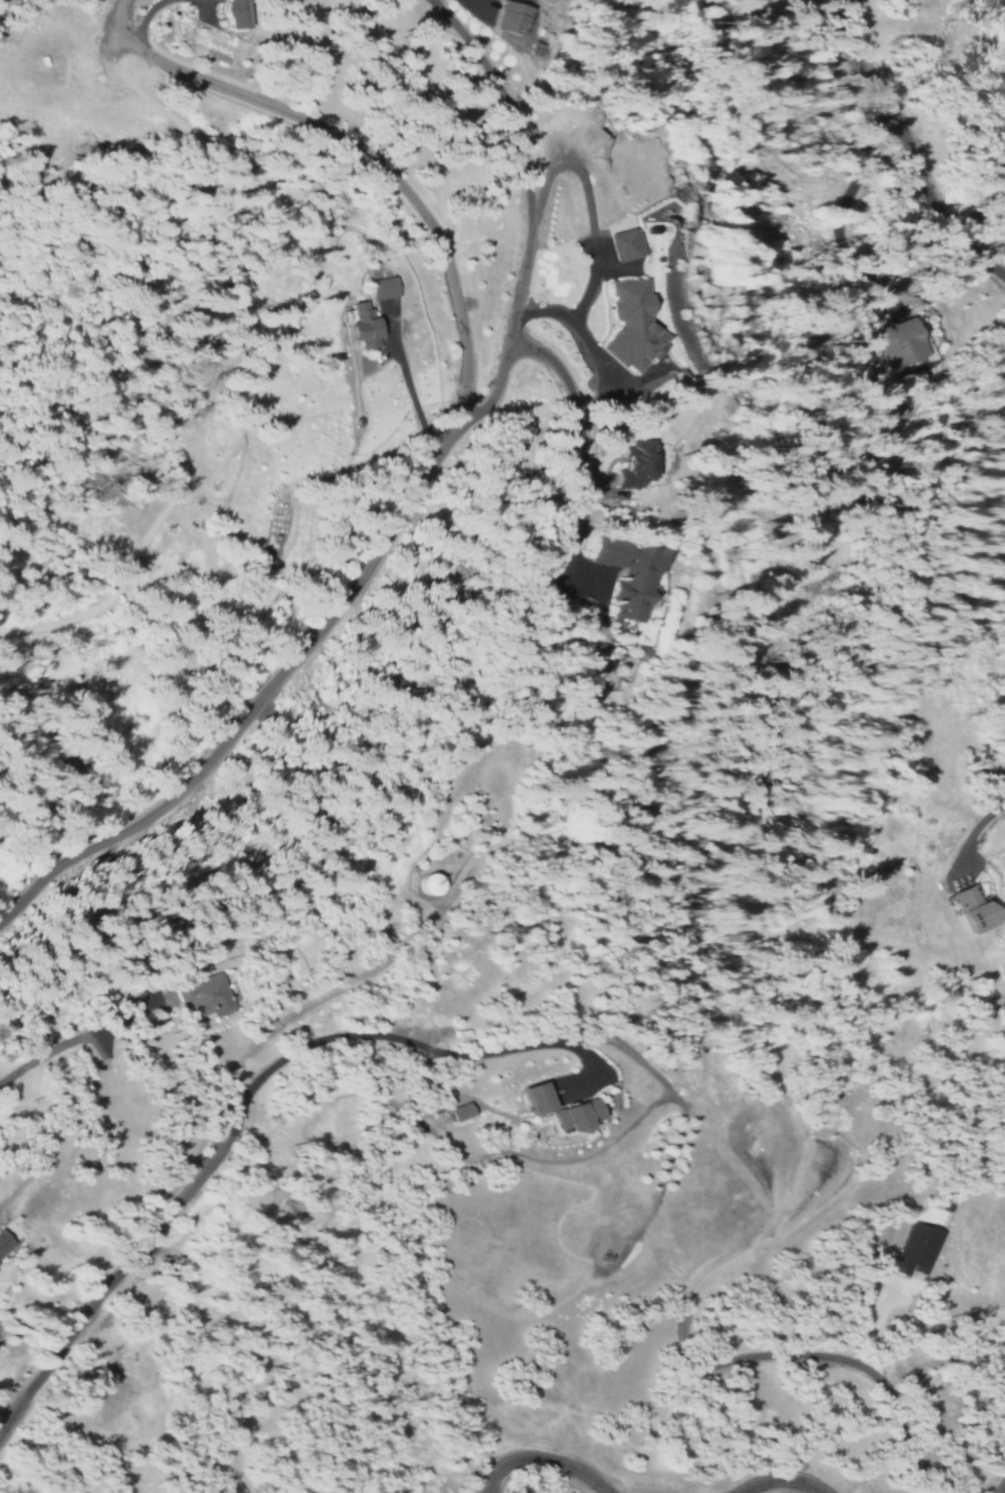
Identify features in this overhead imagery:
building: (236, 13)
building: (524, 14)
road: (212, 147)
road: (905, 149)
road: (530, 216)
building: (634, 242)
building: (383, 287)
building: (641, 323)
building: (361, 324)
building: (896, 341)
road: (428, 455)
building: (650, 460)
road: (587, 476)
building: (647, 572)
building: (449, 884)
building: (975, 909)
road: (402, 942)
building: (214, 997)
road: (393, 1037)
road: (95, 1087)
road: (342, 1091)
building: (538, 1098)
building: (461, 1111)
building: (578, 1116)
road: (539, 1159)
building: (8, 1246)
building: (915, 1249)
road: (568, 1296)
road: (100, 1305)
road: (872, 1323)
road: (748, 1356)
road: (541, 1459)
road: (779, 1481)
road: (1002, 1488)

